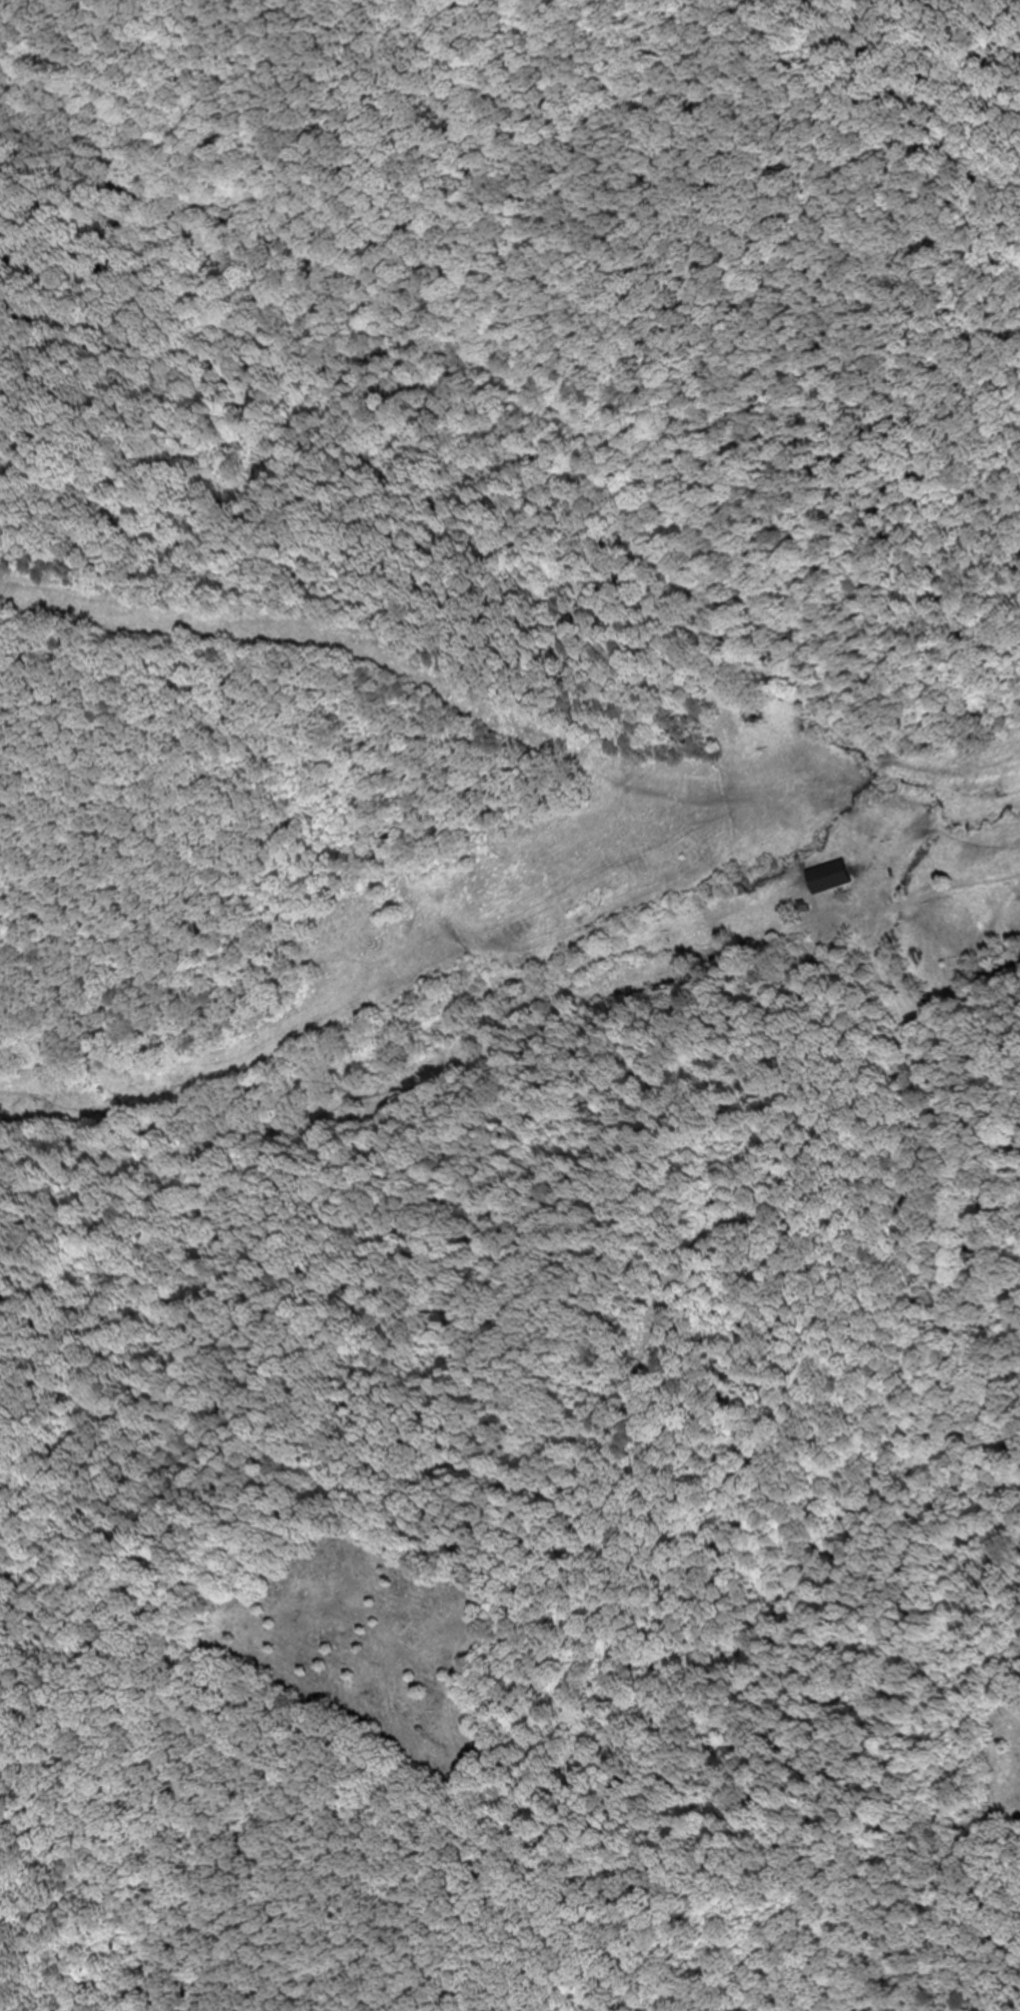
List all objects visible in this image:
building: (830, 877)
building: (629, 981)

